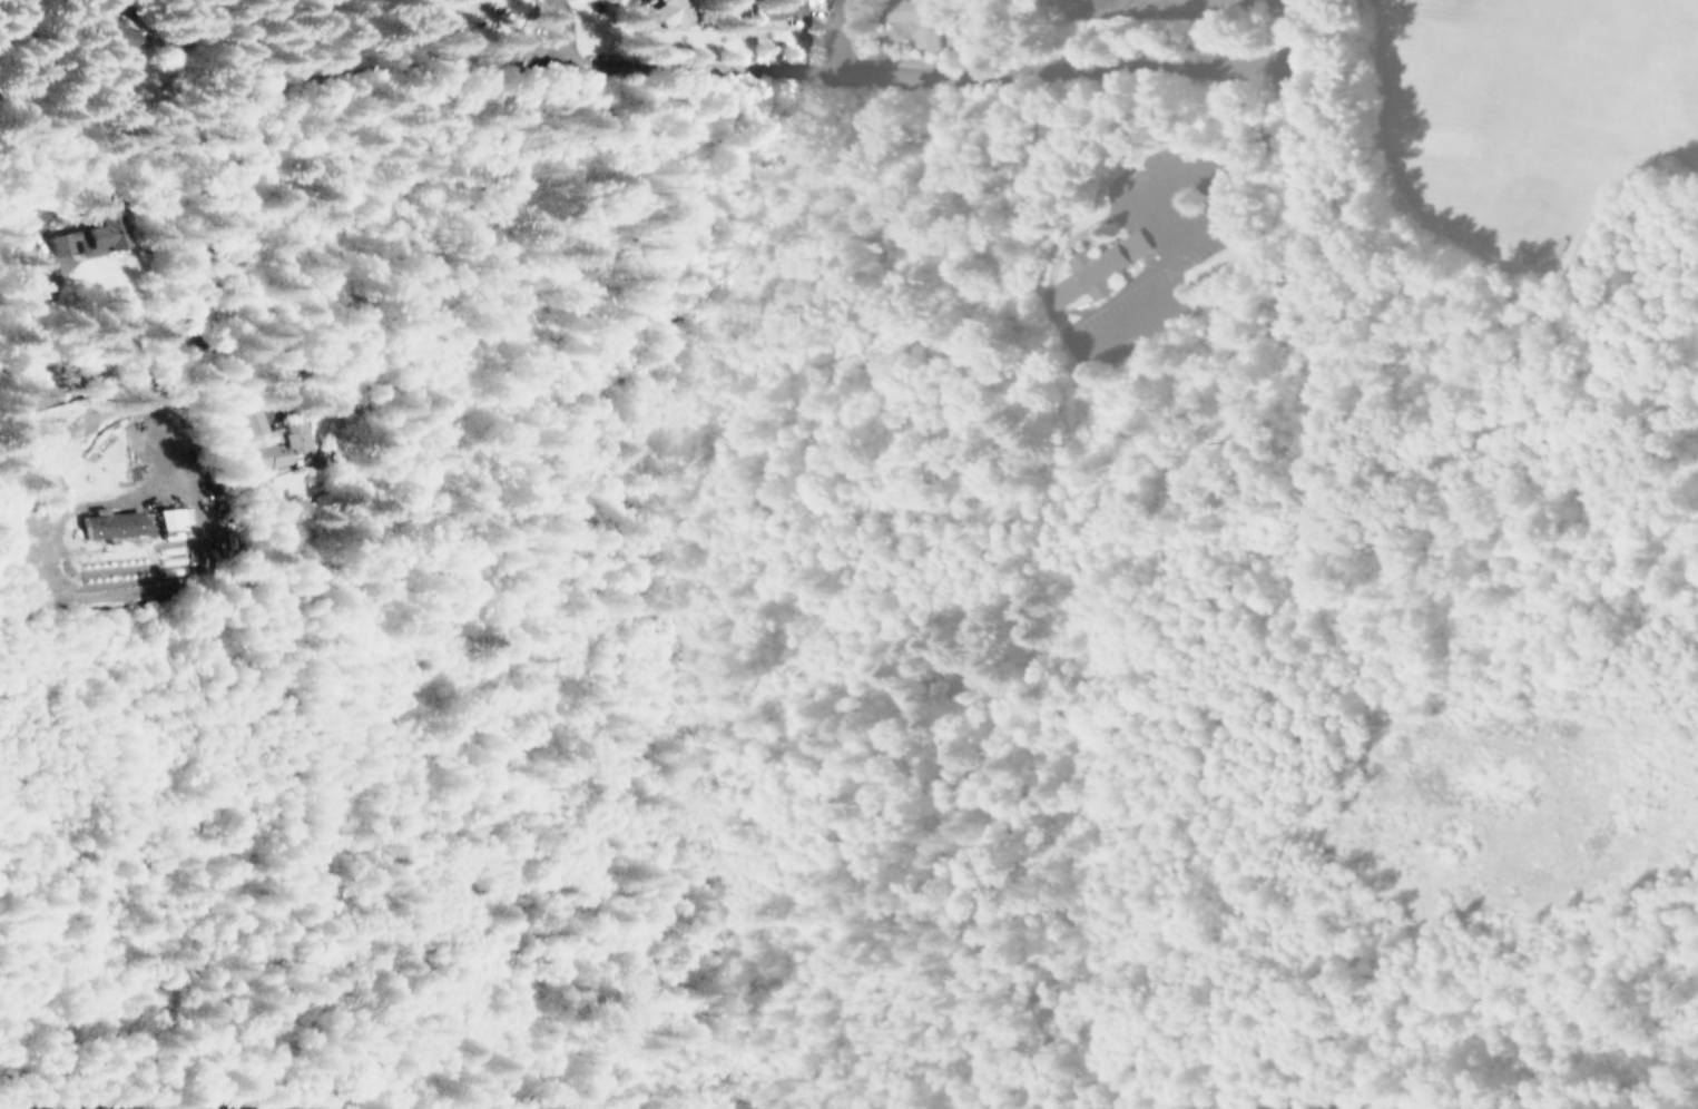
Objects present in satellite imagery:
power substation: (1123, 3)
building: (779, 8)
building: (670, 10)
building: (911, 12)
building: (151, 31)
road: (565, 31)
road: (837, 35)
park: (1466, 38)
park: (1674, 61)
road: (701, 70)
road: (1070, 71)
road: (1304, 154)
road: (237, 174)
road: (1151, 178)
park: (1522, 179)
building: (107, 236)
building: (1092, 267)
parking lot: (1140, 293)
road: (1145, 305)
road: (181, 420)
building: (282, 439)
building: (187, 518)
building: (126, 524)

